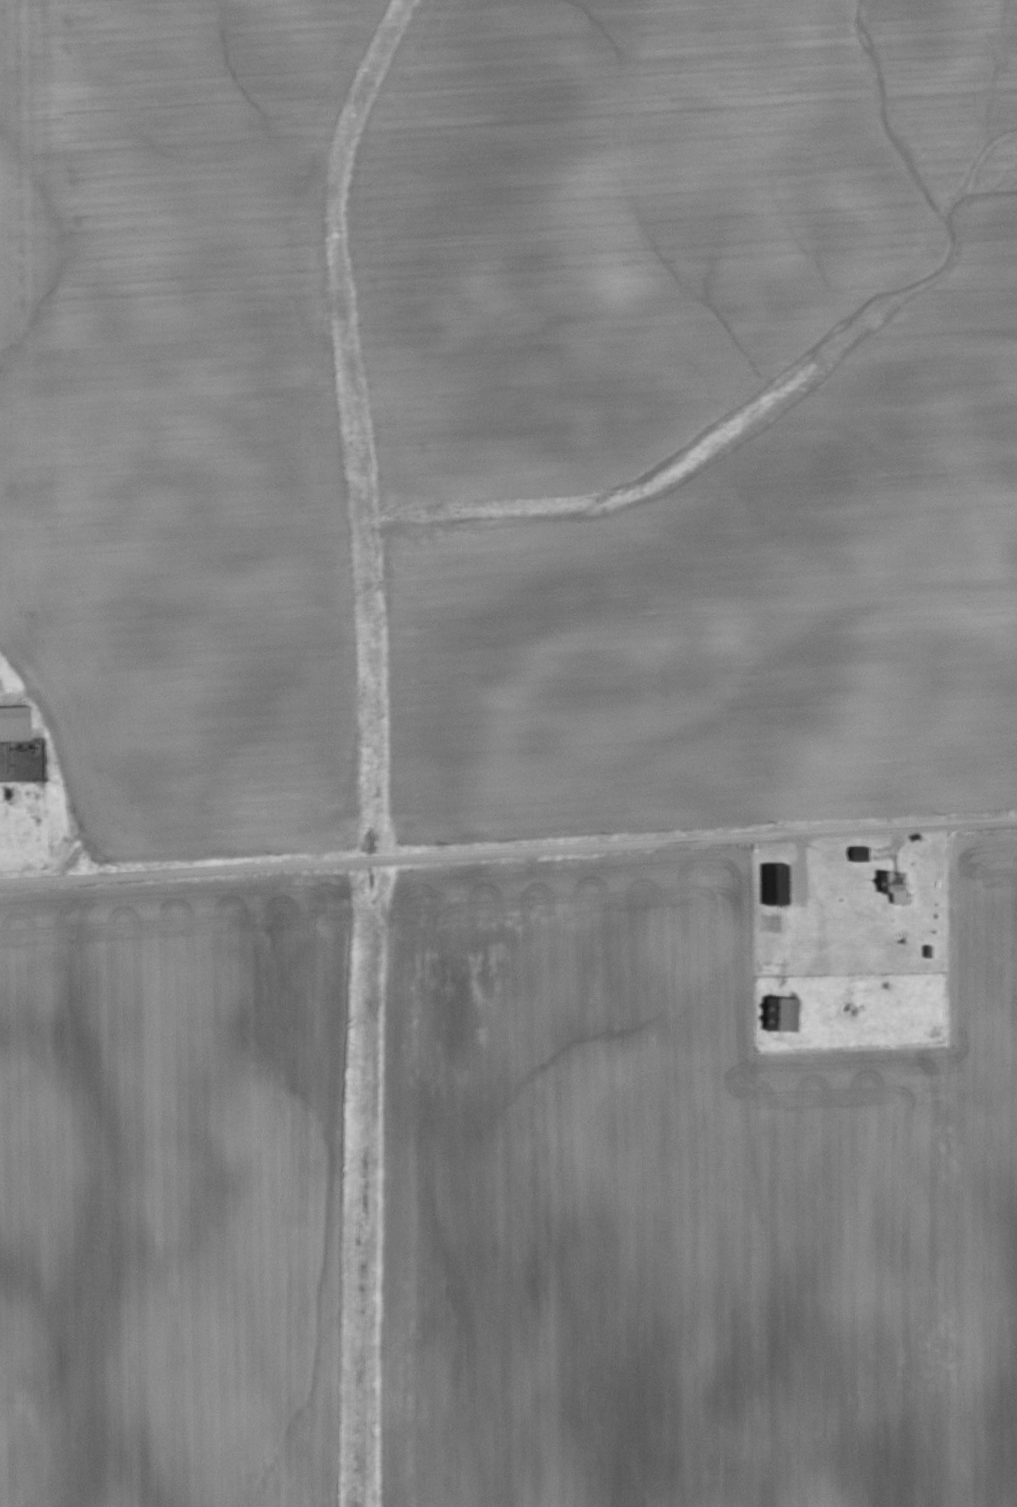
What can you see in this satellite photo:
building: (17, 722)
road: (67, 765)
road: (508, 851)
building: (861, 855)
building: (900, 894)
building: (783, 1015)

